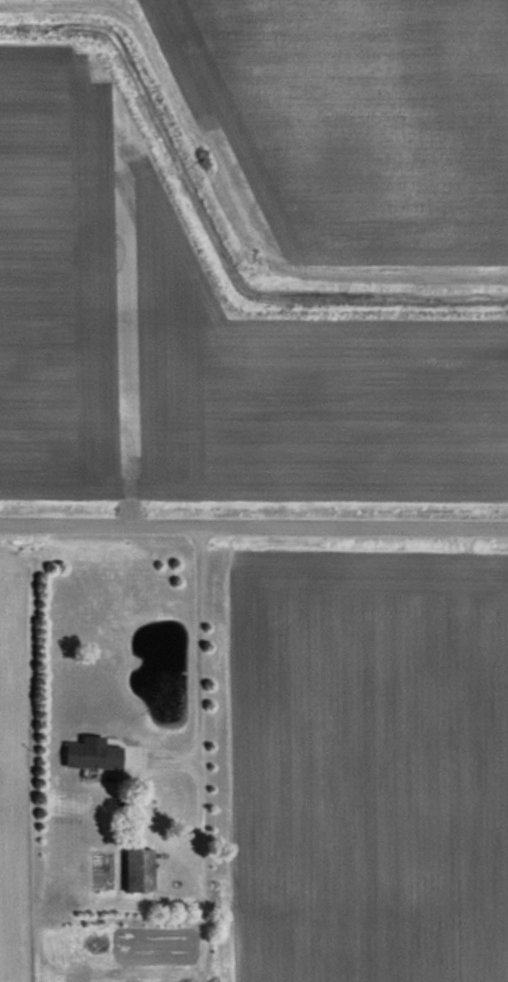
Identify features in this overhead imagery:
road: (254, 523)
building: (93, 756)
building: (139, 870)
building: (156, 969)

